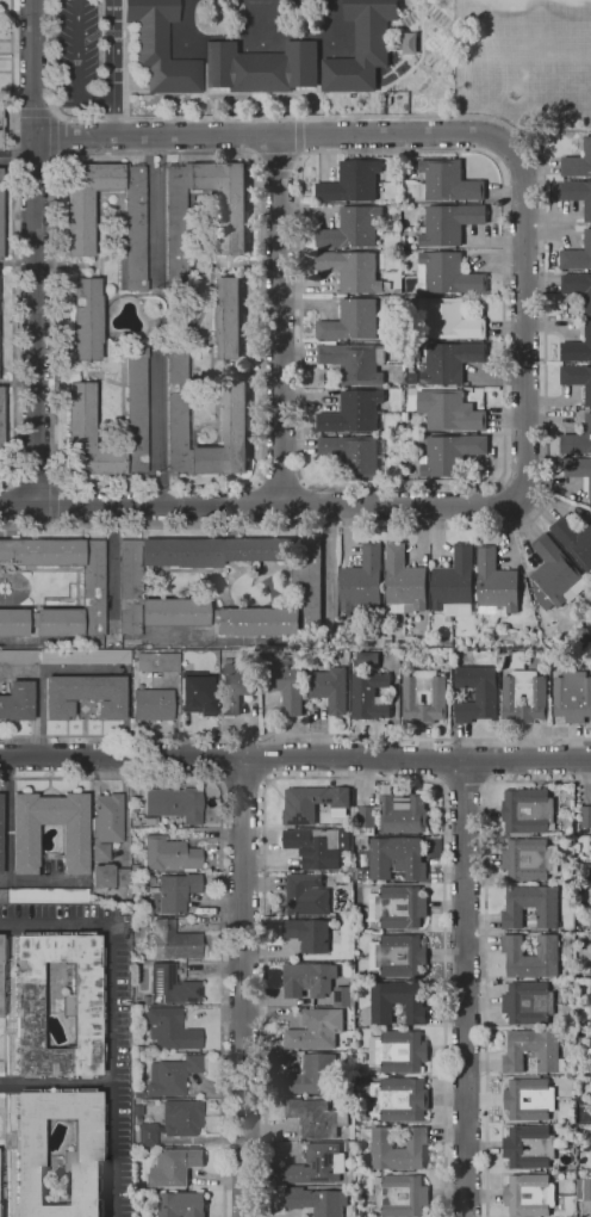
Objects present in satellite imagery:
building: (408, 43)
building: (399, 47)
building: (160, 48)
building: (361, 48)
road: (79, 66)
road: (113, 67)
building: (261, 68)
building: (381, 98)
road: (35, 111)
building: (0, 129)
road: (273, 135)
road: (17, 153)
road: (278, 159)
building: (577, 162)
road: (17, 163)
road: (153, 178)
building: (353, 183)
building: (447, 183)
building: (577, 194)
building: (232, 222)
building: (79, 223)
building: (448, 224)
building: (0, 229)
building: (352, 229)
road: (154, 231)
road: (14, 248)
road: (35, 253)
building: (577, 255)
building: (349, 270)
building: (446, 276)
building: (578, 289)
road: (543, 302)
building: (480, 313)
building: (225, 319)
building: (86, 320)
road: (278, 320)
building: (449, 320)
building: (352, 322)
building: (577, 348)
building: (449, 363)
building: (354, 364)
building: (68, 373)
building: (411, 378)
building: (577, 379)
building: (448, 412)
building: (353, 413)
building: (232, 414)
building: (80, 416)
building: (1, 435)
building: (578, 439)
building: (353, 455)
building: (450, 455)
building: (579, 471)
road: (253, 481)
road: (280, 481)
road: (499, 481)
road: (33, 483)
road: (54, 505)
road: (255, 505)
road: (436, 505)
road: (13, 506)
building: (574, 540)
building: (554, 575)
building: (361, 581)
building: (403, 582)
building: (454, 585)
building: (494, 585)
building: (93, 587)
building: (309, 592)
building: (584, 636)
building: (64, 656)
building: (368, 660)
building: (156, 662)
road: (83, 669)
building: (285, 685)
building: (234, 687)
building: (329, 688)
building: (197, 692)
building: (477, 692)
building: (85, 696)
building: (368, 696)
building: (424, 697)
building: (512, 697)
building: (572, 697)
building: (17, 702)
building: (153, 705)
road: (294, 739)
road: (295, 758)
road: (220, 760)
road: (263, 760)
road: (442, 761)
road: (485, 761)
road: (352, 778)
road: (242, 783)
road: (464, 786)
building: (313, 803)
building: (174, 804)
building: (528, 811)
building: (402, 815)
building: (586, 817)
building: (363, 820)
building: (144, 821)
building: (106, 826)
building: (0, 834)
building: (363, 840)
building: (25, 845)
building: (315, 846)
road: (6, 854)
building: (169, 854)
building: (394, 859)
building: (529, 859)
building: (110, 876)
road: (222, 890)
building: (175, 892)
building: (306, 895)
building: (4, 896)
building: (48, 896)
building: (398, 907)
building: (533, 907)
building: (307, 934)
building: (174, 940)
road: (485, 949)
building: (398, 956)
building: (531, 957)
building: (1, 977)
building: (307, 980)
building: (170, 987)
road: (242, 987)
road: (464, 989)
building: (342, 996)
building: (398, 1002)
building: (528, 1002)
building: (88, 1005)
road: (111, 1015)
building: (172, 1028)
building: (316, 1030)
building: (533, 1051)
building: (398, 1052)
building: (587, 1061)
building: (173, 1075)
building: (315, 1076)
road: (55, 1083)
building: (590, 1098)
building: (398, 1099)
building: (543, 1100)
building: (182, 1118)
building: (315, 1118)
building: (149, 1135)
building: (396, 1148)
building: (542, 1148)
building: (361, 1157)
building: (89, 1162)
building: (316, 1166)
building: (174, 1167)
building: (584, 1190)
building: (529, 1194)
building: (400, 1196)
building: (316, 1200)
building: (181, 1205)

